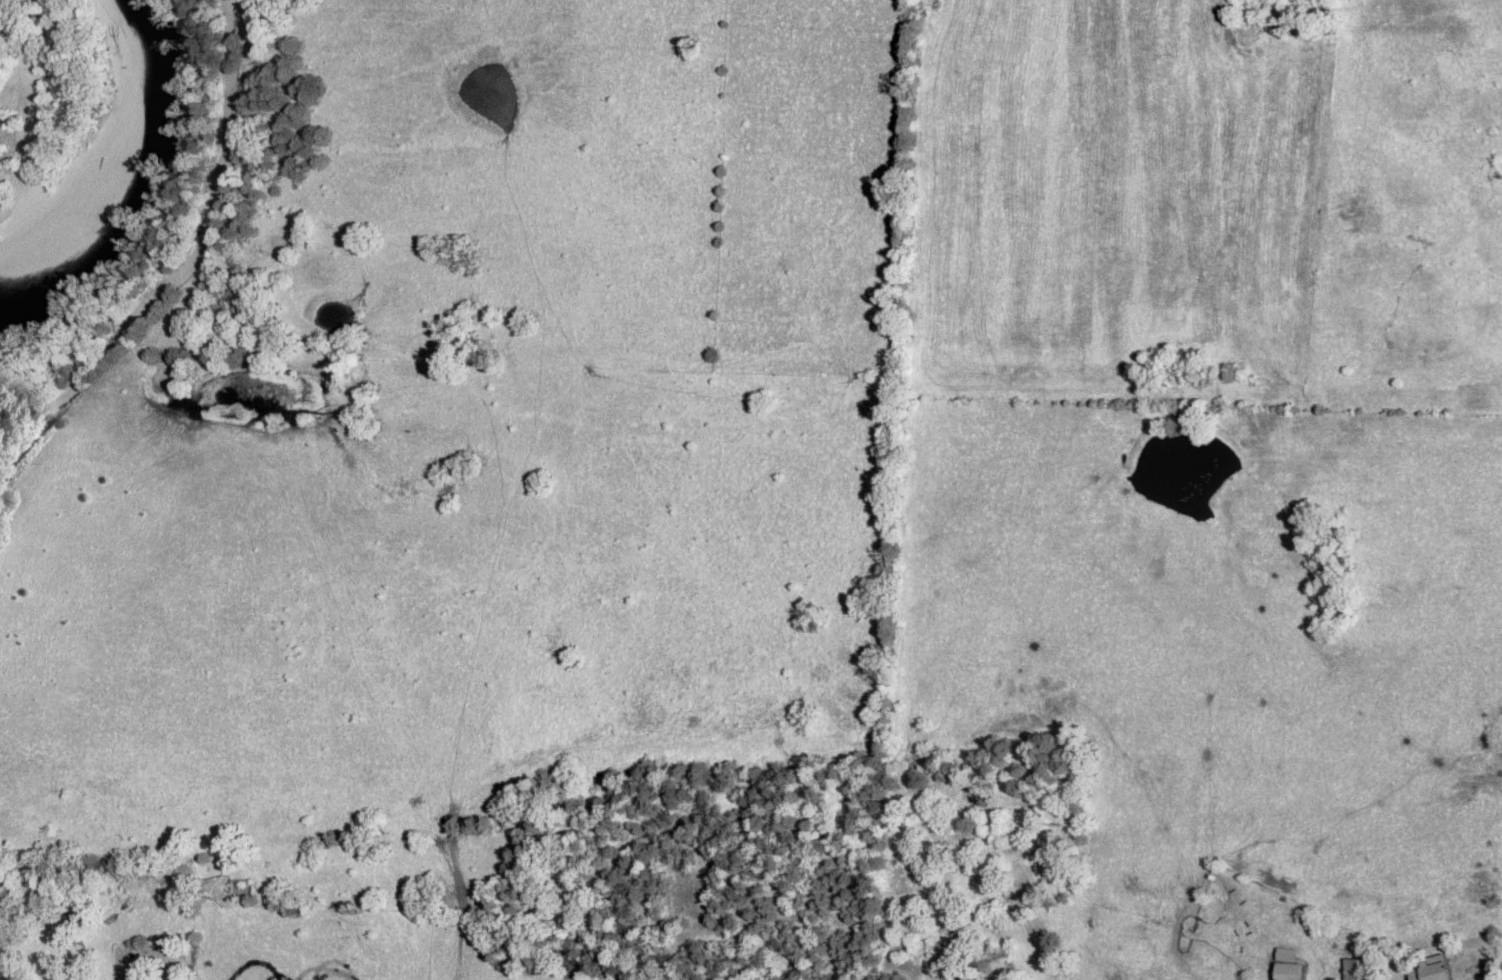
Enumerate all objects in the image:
river: (125, 177)
road: (194, 280)
building: (1289, 965)
building: (1359, 969)
building: (1435, 970)

